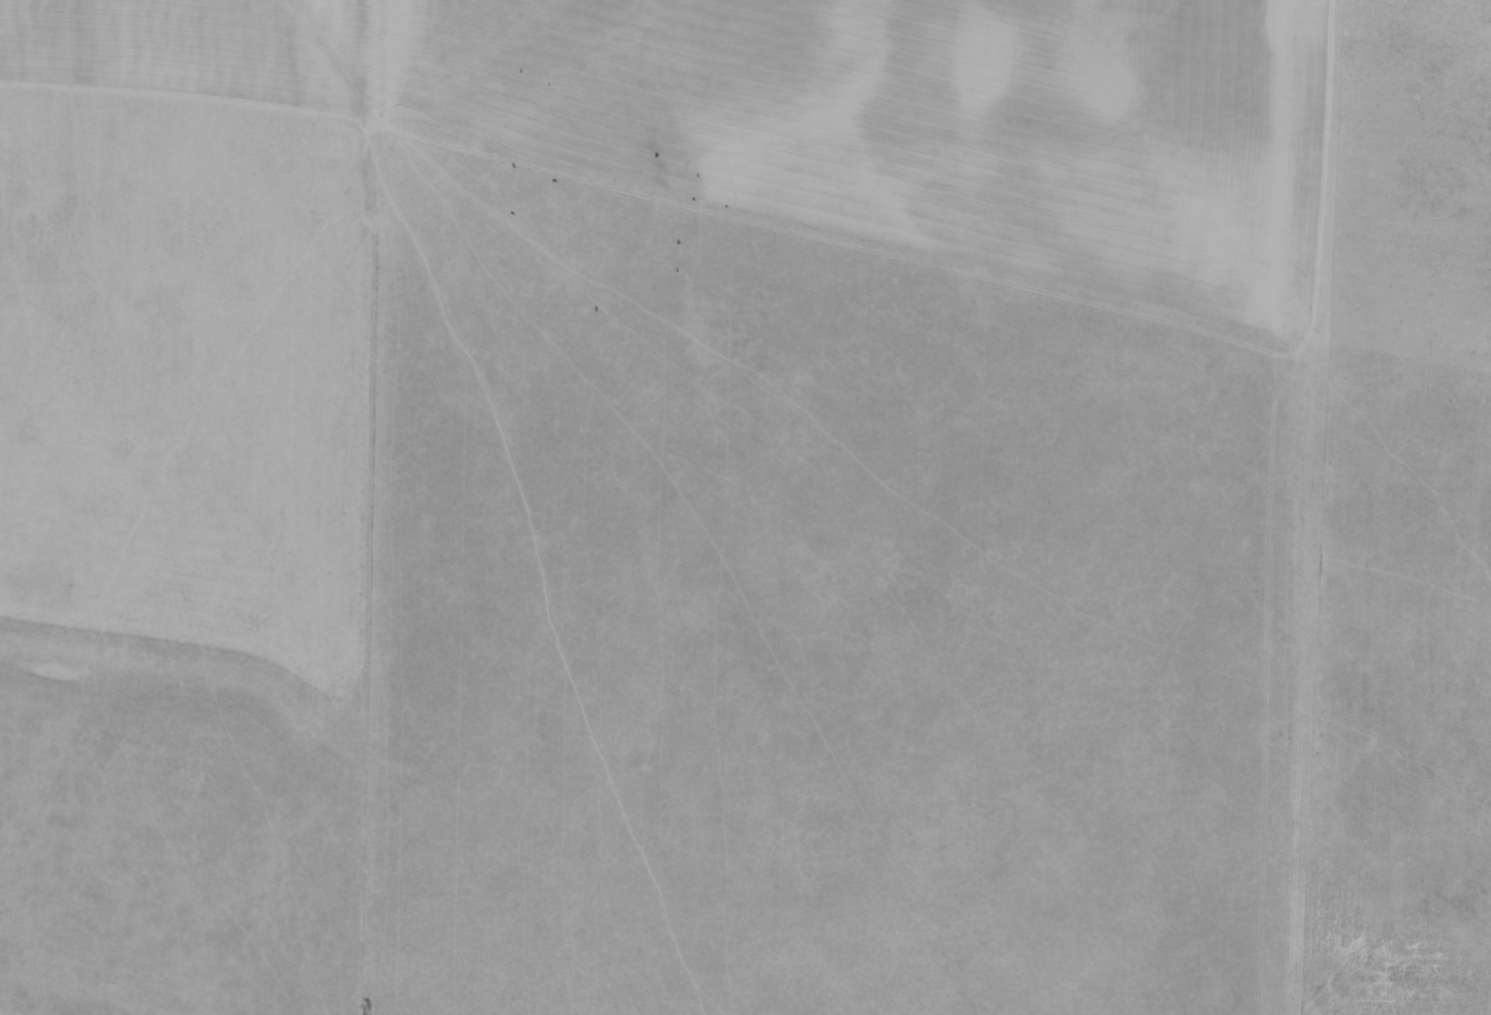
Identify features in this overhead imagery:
road: (1283, 507)

